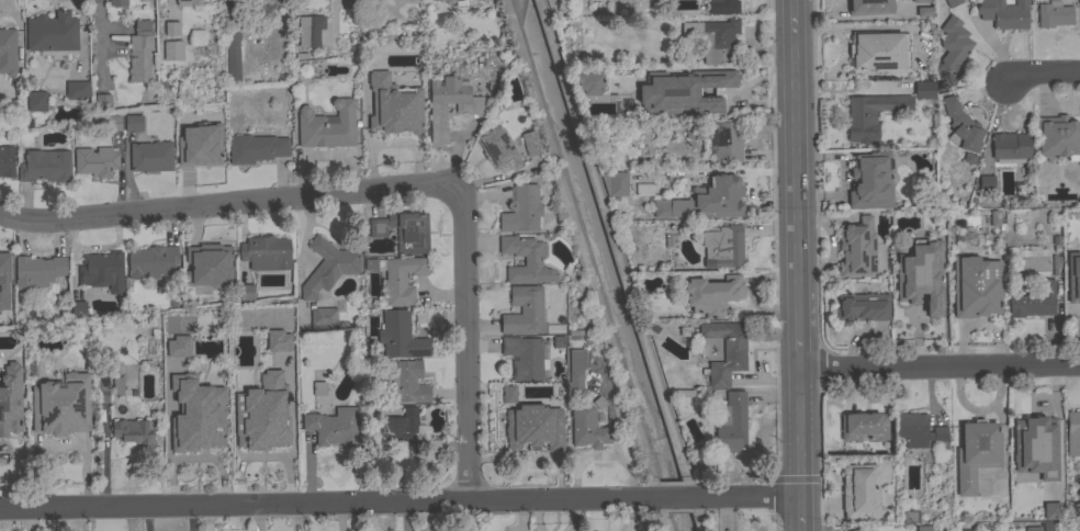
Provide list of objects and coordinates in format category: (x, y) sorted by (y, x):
building: (437, 0)
building: (482, 0)
building: (921, 1)
building: (189, 2)
building: (461, 2)
building: (953, 2)
building: (125, 3)
building: (722, 7)
building: (870, 8)
building: (924, 13)
building: (1004, 13)
building: (1054, 14)
building: (172, 29)
road: (99, 30)
building: (308, 31)
building: (52, 33)
building: (712, 37)
building: (954, 45)
building: (140, 50)
building: (173, 50)
building: (878, 50)
building: (8, 52)
building: (233, 52)
road: (1040, 74)
building: (588, 82)
building: (924, 89)
building: (77, 90)
building: (684, 91)
building: (36, 101)
building: (102, 102)
building: (394, 106)
building: (469, 109)
building: (870, 115)
building: (182, 116)
building: (113, 123)
building: (134, 123)
building: (963, 125)
building: (327, 126)
building: (1057, 137)
building: (718, 139)
building: (530, 144)
building: (1011, 147)
building: (256, 148)
building: (499, 148)
building: (203, 151)
building: (151, 157)
building: (7, 161)
building: (95, 162)
building: (45, 167)
building: (870, 181)
building: (987, 182)
building: (615, 184)
building: (645, 191)
building: (718, 197)
road: (226, 205)
building: (663, 208)
building: (522, 211)
building: (995, 219)
building: (403, 231)
building: (723, 247)
building: (857, 249)
building: (266, 253)
building: (526, 261)
building: (150, 262)
road: (798, 264)
building: (207, 265)
building: (328, 267)
building: (37, 271)
building: (102, 271)
building: (920, 275)
building: (1073, 278)
building: (4, 279)
building: (402, 279)
building: (976, 286)
building: (246, 293)
building: (712, 295)
building: (1031, 297)
building: (863, 307)
building: (78, 308)
building: (524, 312)
building: (323, 314)
building: (685, 335)
building: (400, 336)
road: (468, 339)
building: (279, 342)
building: (178, 349)
building: (725, 350)
building: (525, 358)
road: (940, 366)
building: (576, 371)
building: (408, 383)
building: (117, 386)
building: (102, 388)
building: (282, 391)
building: (509, 396)
building: (10, 400)
building: (61, 406)
building: (221, 417)
building: (731, 423)
building: (586, 427)
building: (865, 427)
building: (334, 428)
building: (535, 428)
building: (132, 430)
building: (195, 430)
building: (920, 431)
building: (397, 433)
building: (1072, 433)
building: (260, 436)
building: (1035, 447)
building: (976, 453)
building: (860, 492)
road: (677, 499)
road: (747, 499)
road: (330, 504)
building: (1051, 512)
road: (644, 516)
building: (911, 517)
road: (256, 518)
road: (295, 518)
building: (1049, 527)
building: (923, 528)
building: (1033, 529)
building: (856, 530)
building: (968, 530)

